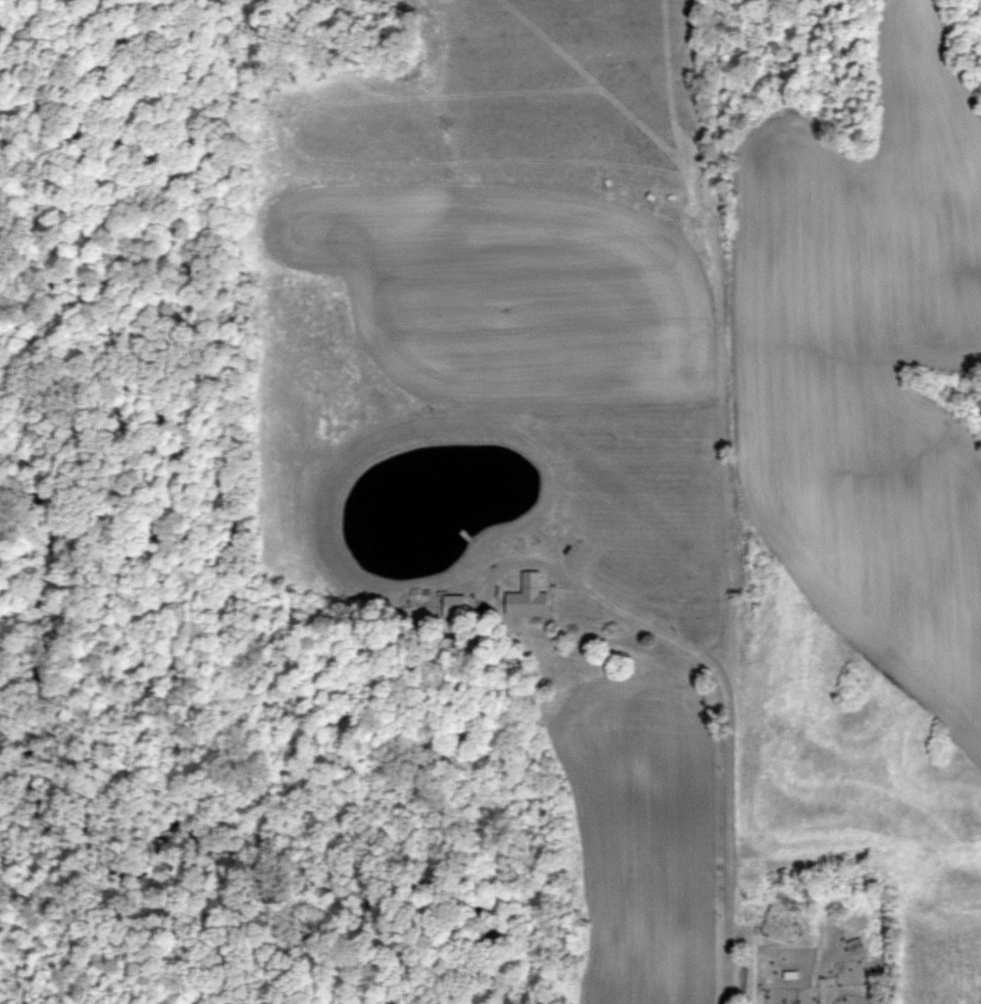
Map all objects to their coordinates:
building: (528, 596)
road: (724, 730)

